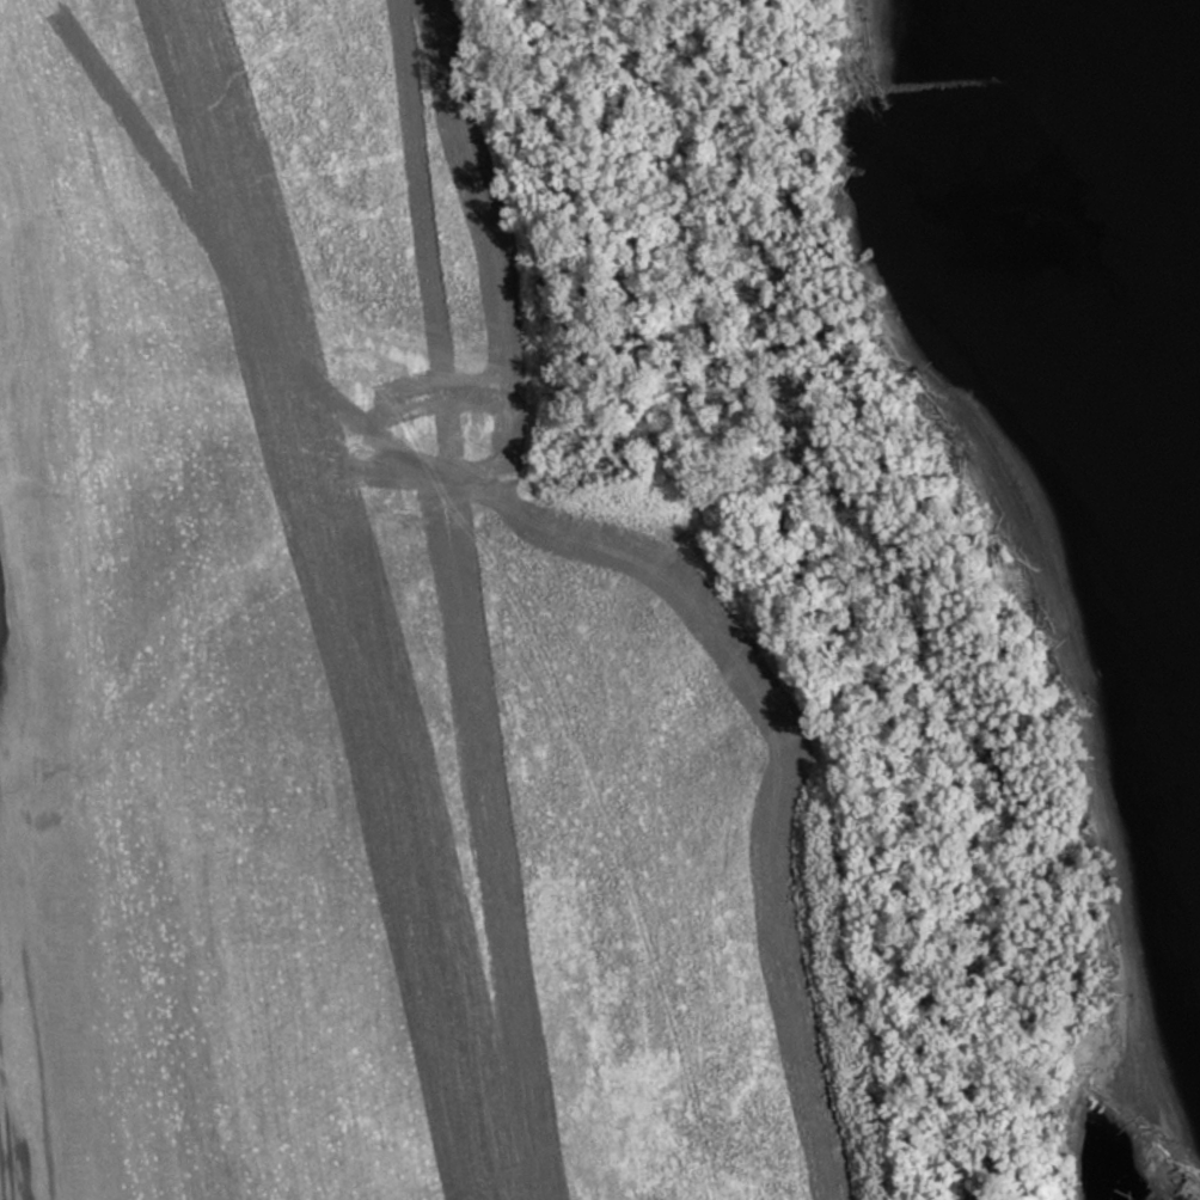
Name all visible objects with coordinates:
crop: (360, 662)

